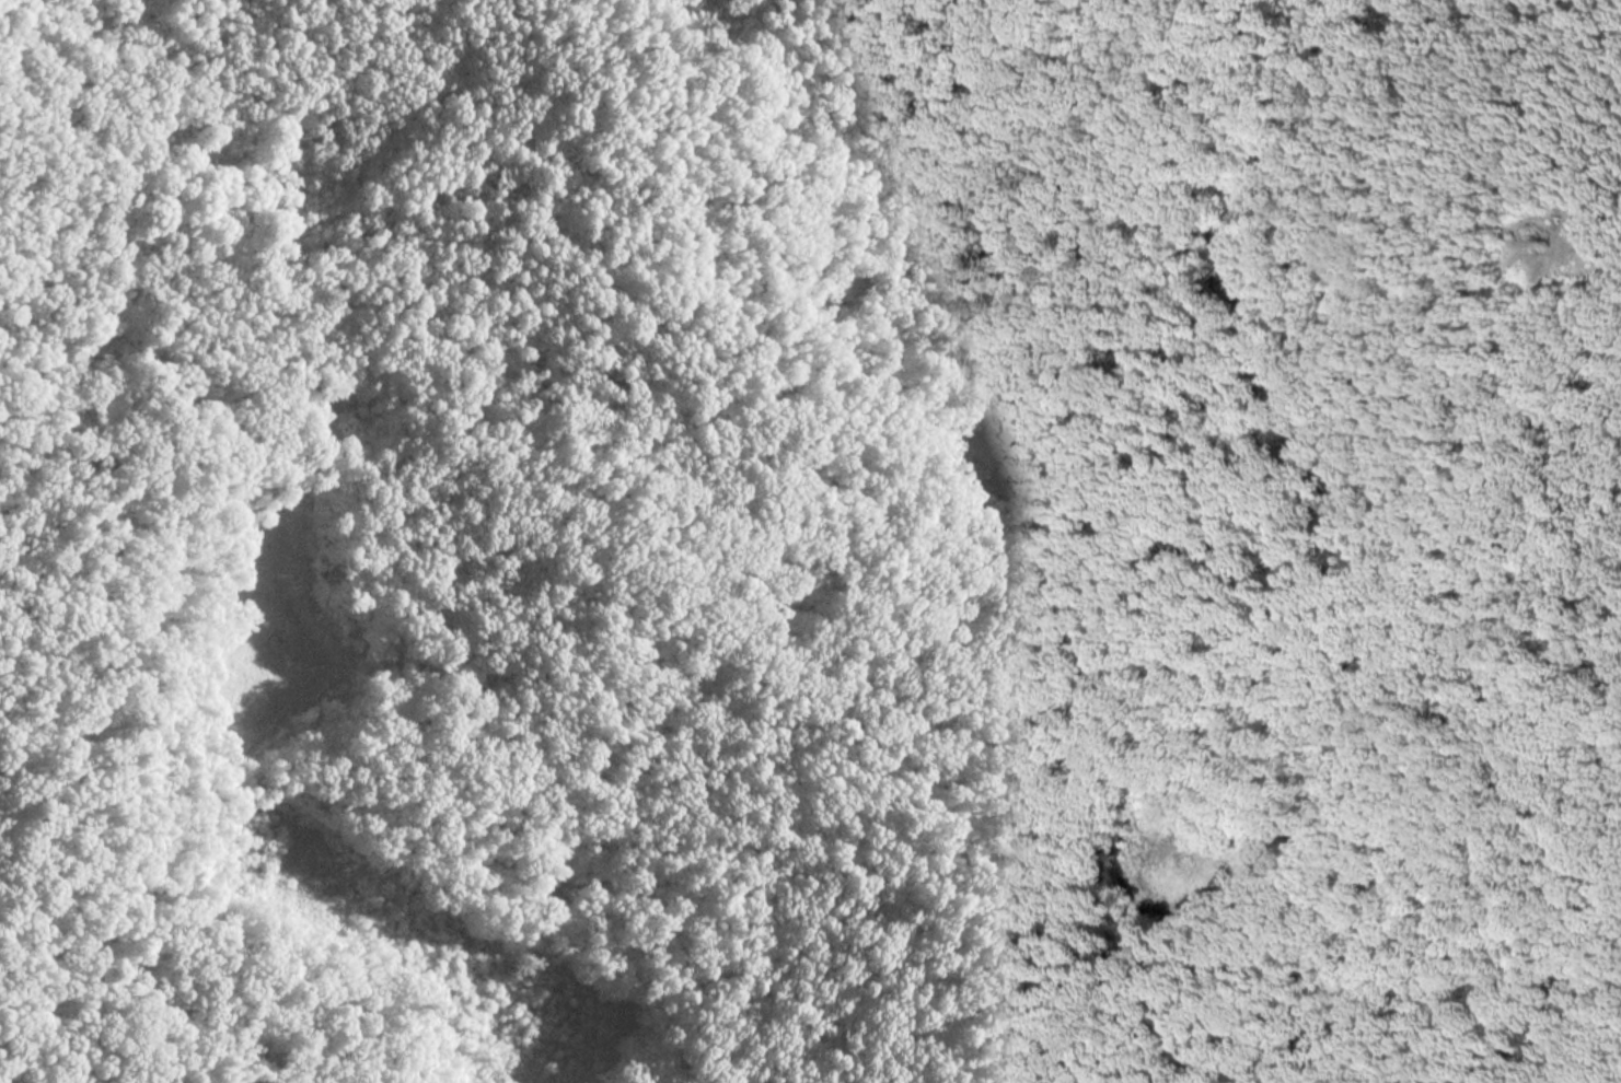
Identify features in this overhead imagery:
road: (1421, 200)
road: (1550, 234)
road: (1573, 242)
road: (1530, 253)
road: (1473, 366)
park: (810, 541)

